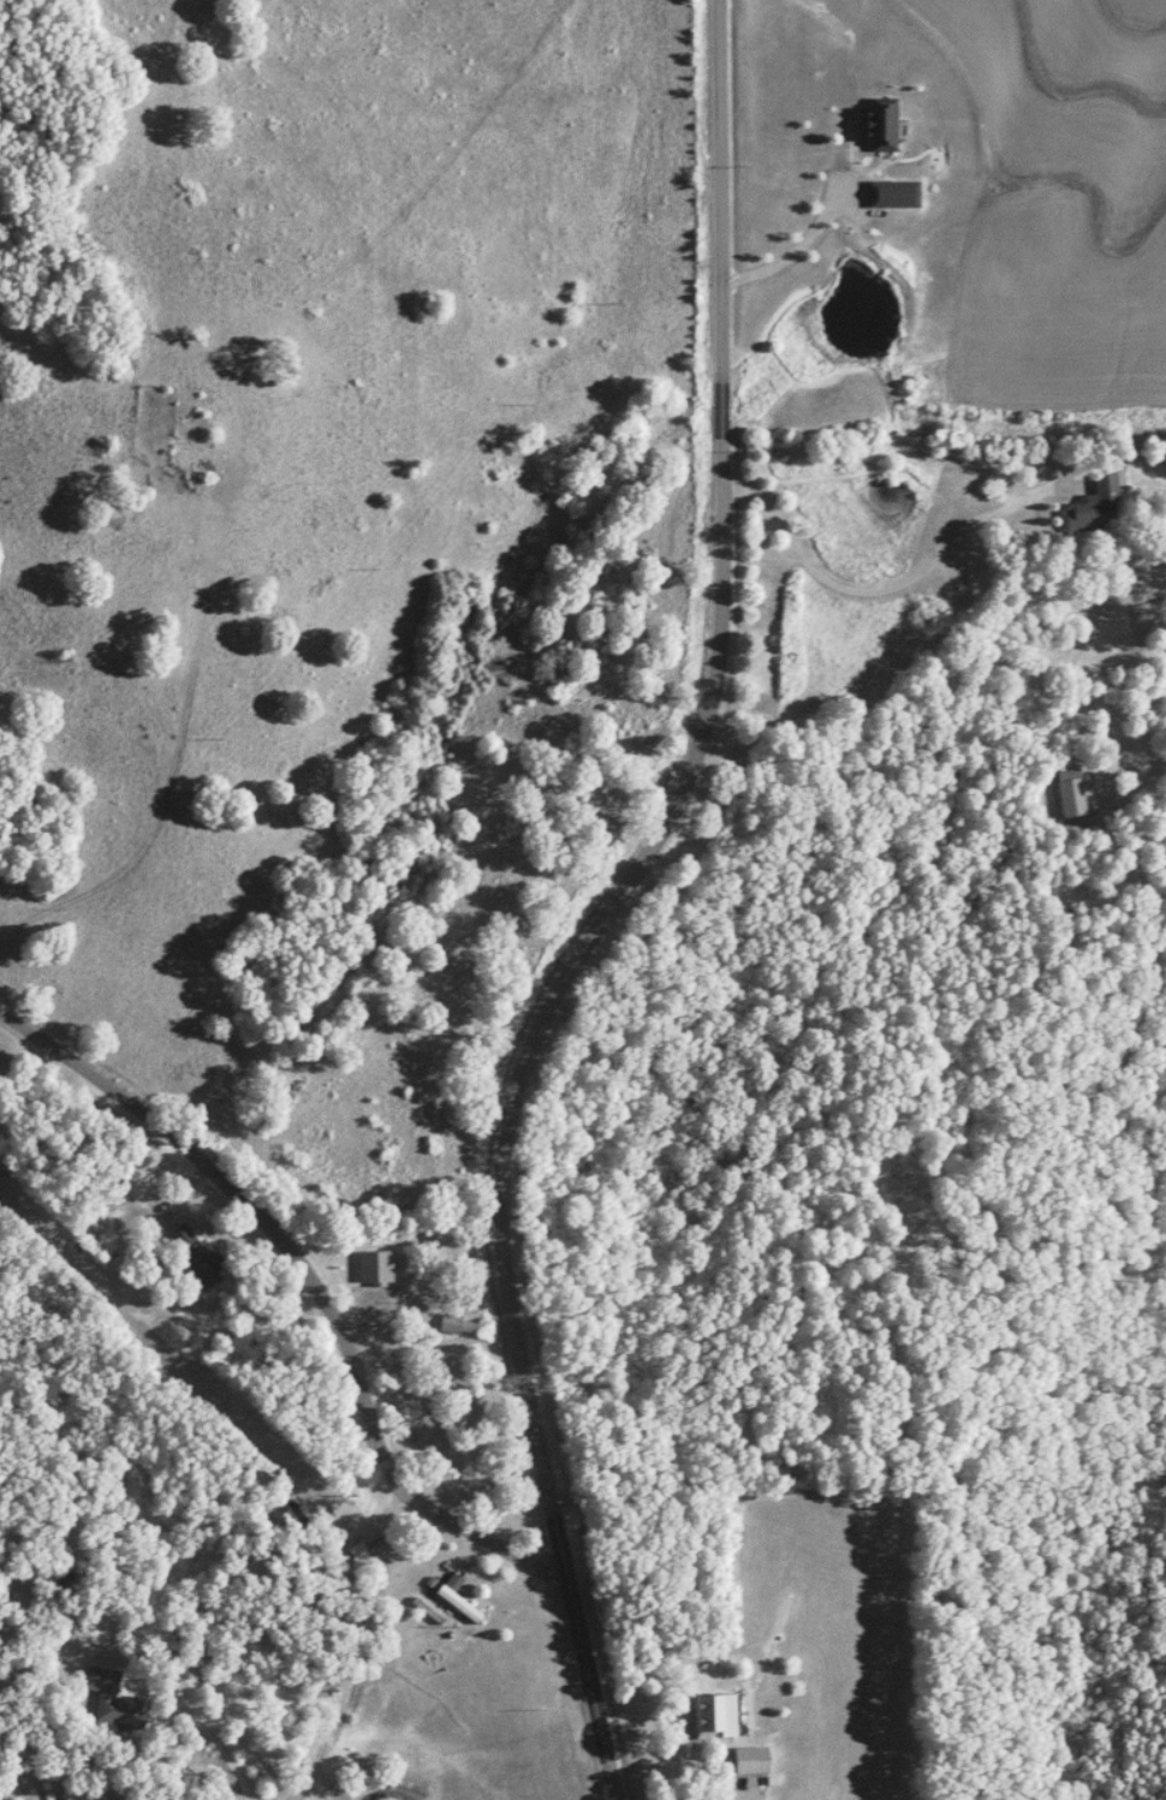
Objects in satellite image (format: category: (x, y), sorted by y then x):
building: (876, 123)
building: (890, 193)
road: (799, 240)
building: (201, 475)
road: (1081, 484)
road: (608, 908)
road: (25, 1054)
road: (177, 1211)
building: (195, 1257)
building: (377, 1266)
road: (307, 1286)
building: (460, 1325)
building: (358, 1550)
building: (456, 1595)
road: (169, 1698)
building: (114, 1700)
building: (751, 1760)
road: (696, 1778)
road: (745, 1799)

